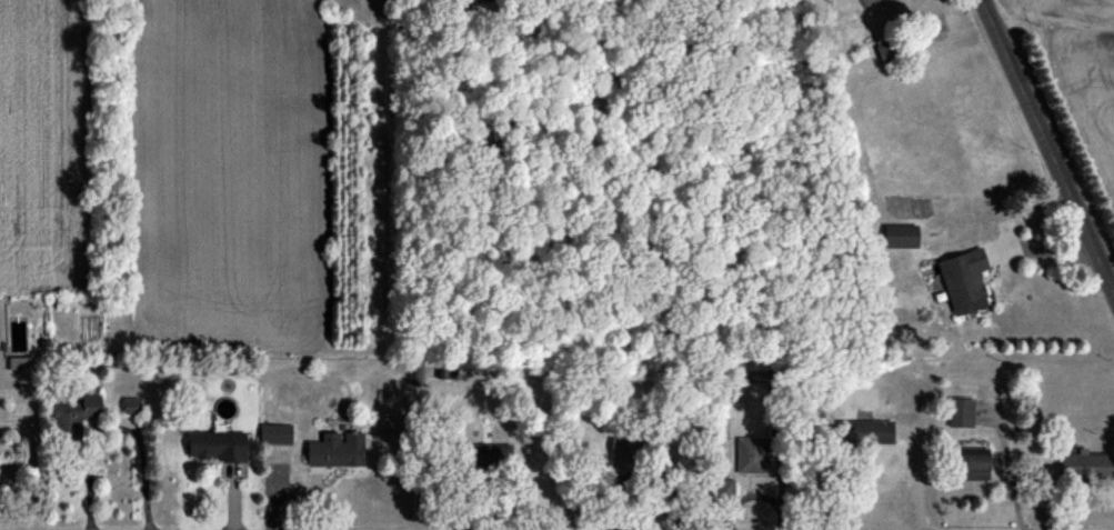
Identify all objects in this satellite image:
road: (1048, 147)
building: (897, 237)
building: (961, 282)
building: (959, 413)
building: (72, 417)
road: (110, 426)
building: (862, 433)
building: (272, 434)
building: (213, 447)
building: (333, 451)
building: (480, 456)
building: (749, 456)
building: (969, 464)
building: (1084, 467)
building: (723, 491)

